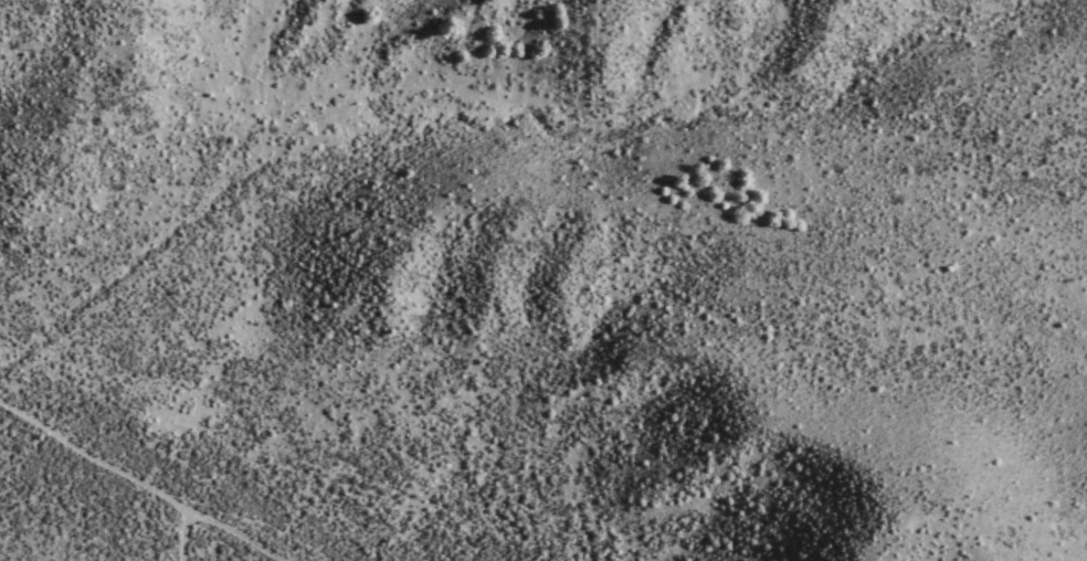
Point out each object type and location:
crop: (140, 462)
road: (137, 485)
road: (179, 534)

